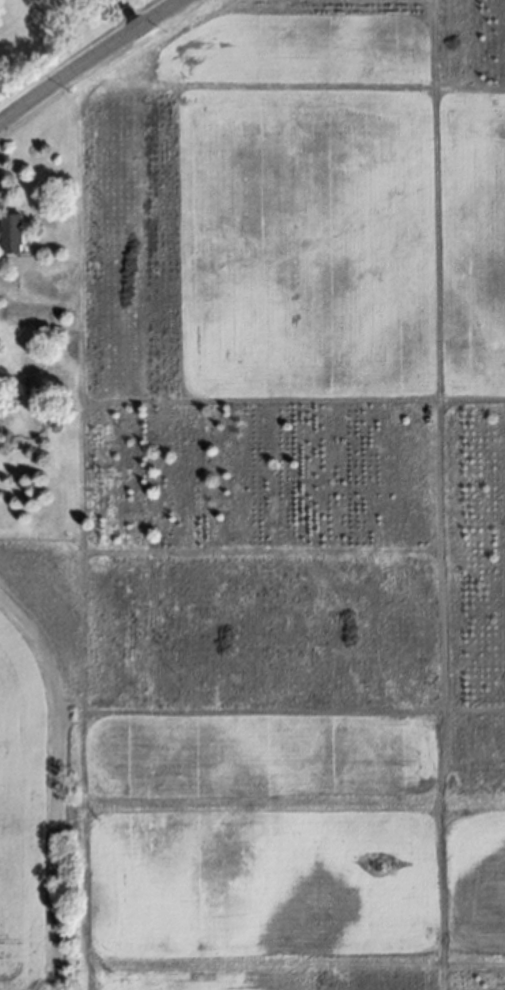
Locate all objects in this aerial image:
road: (92, 61)
building: (8, 224)
road: (54, 783)

